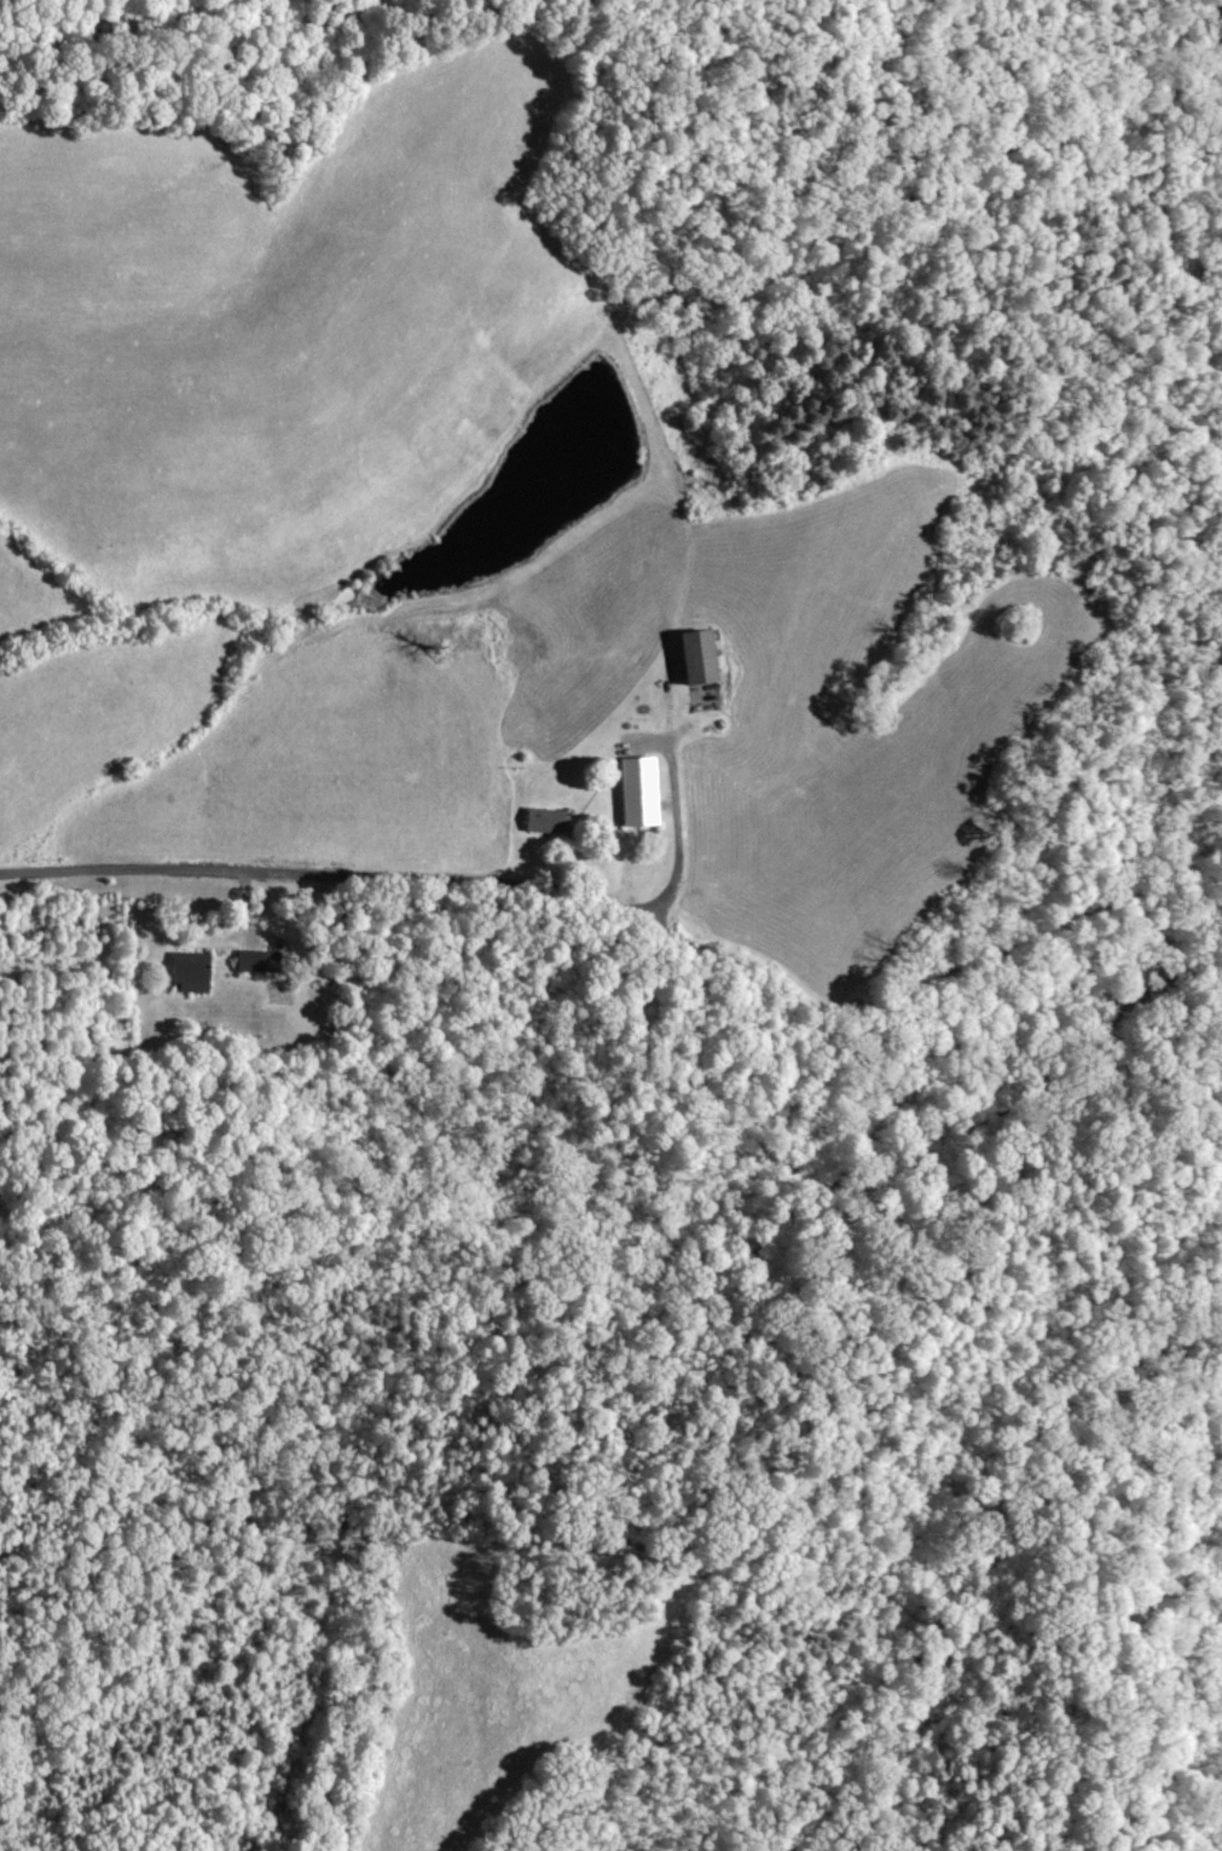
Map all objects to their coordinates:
building: (691, 655)
building: (633, 791)
building: (539, 820)
road: (413, 873)
building: (263, 961)
building: (199, 972)

